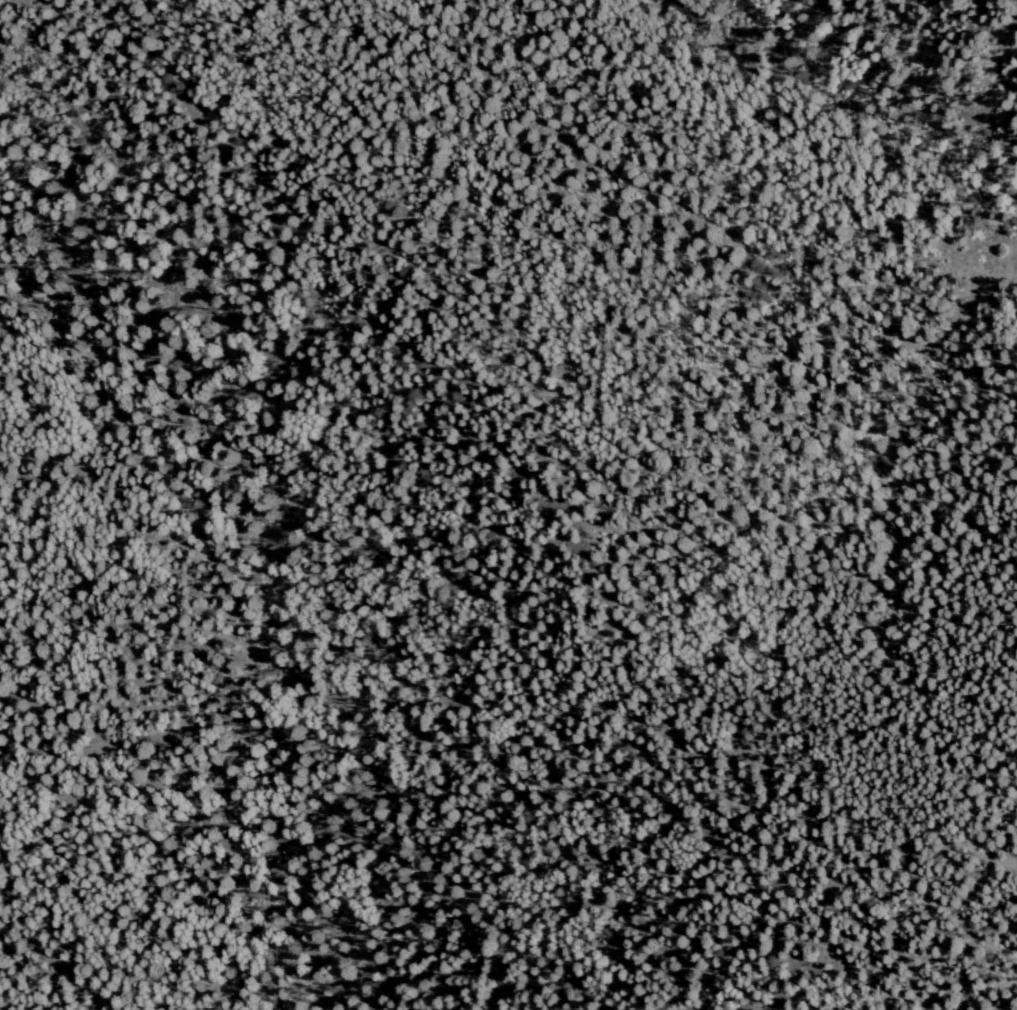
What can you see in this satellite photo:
road: (812, 145)
road: (666, 213)
road: (75, 960)

